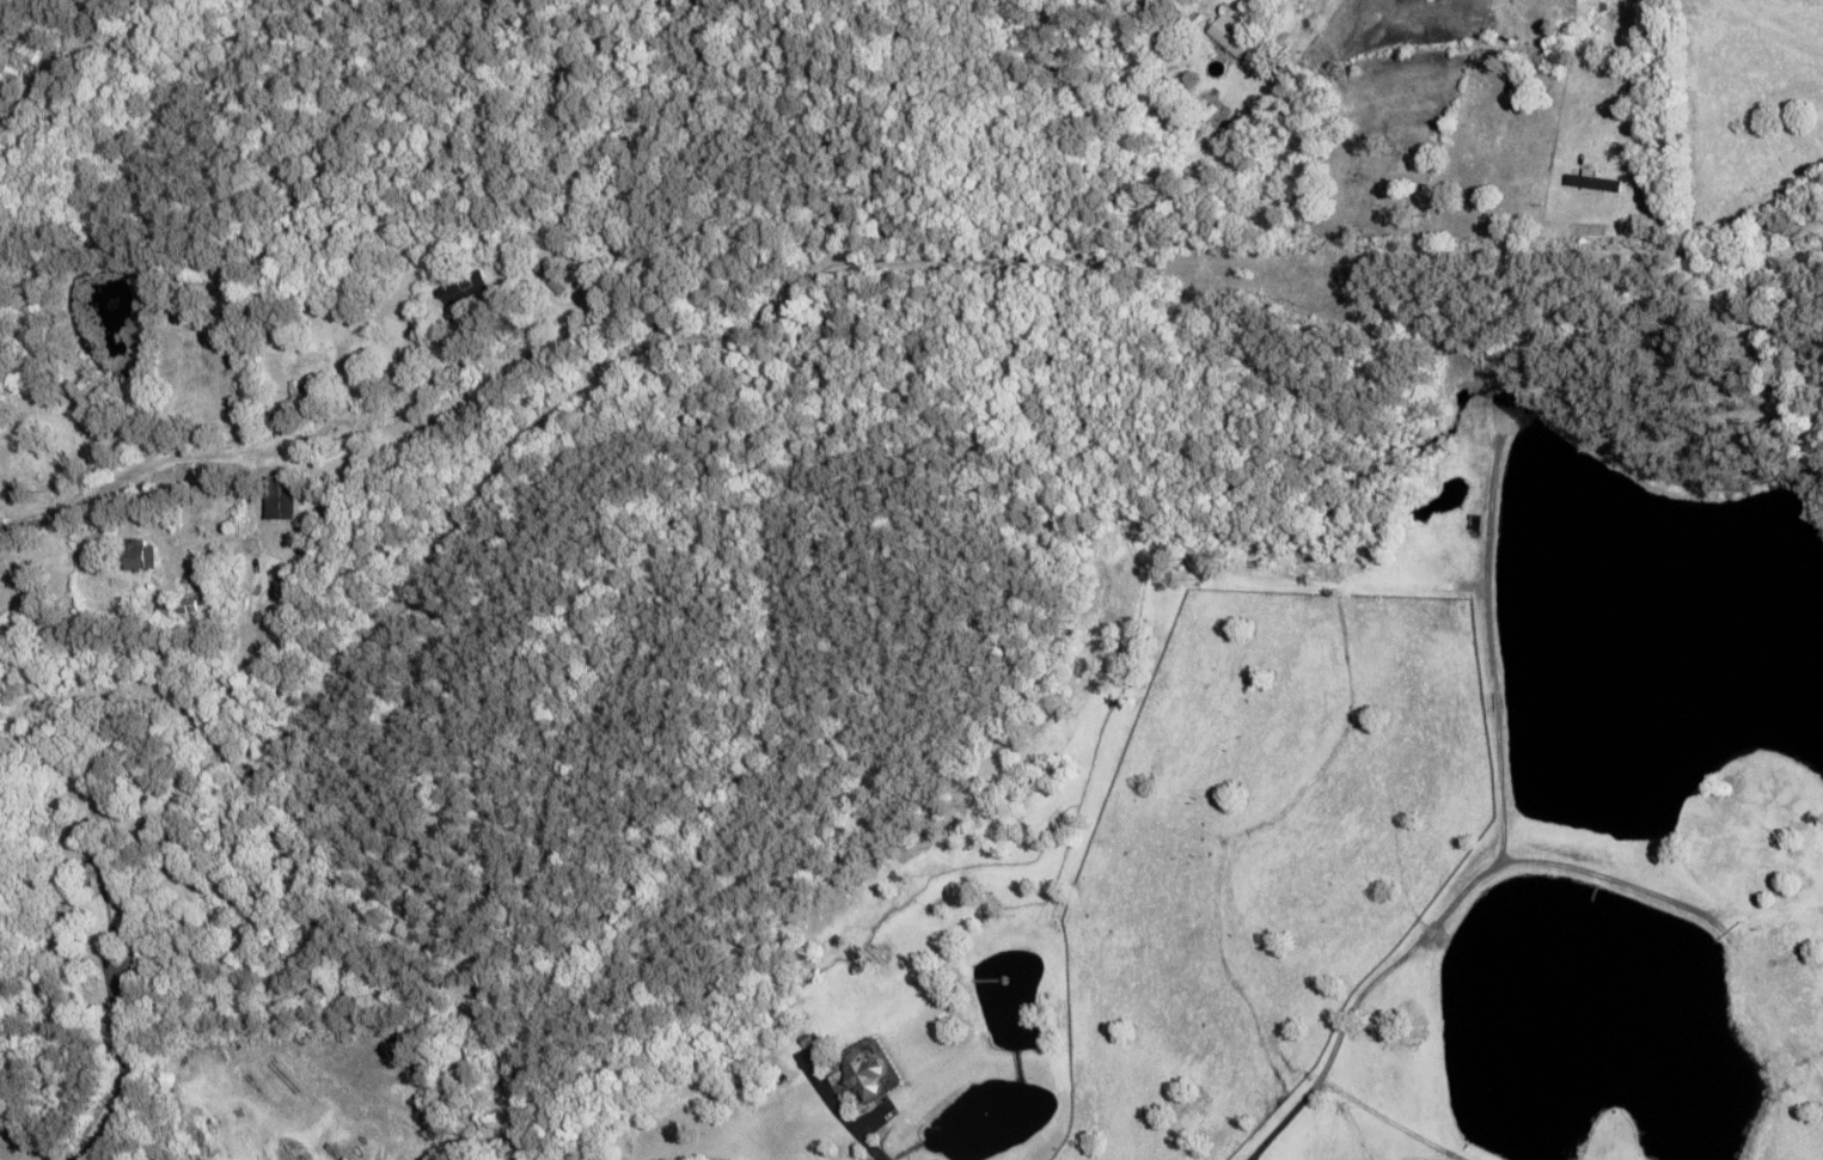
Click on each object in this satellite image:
road: (1772, 26)
building: (1238, 43)
building: (461, 288)
building: (304, 381)
building: (244, 393)
road: (325, 429)
building: (338, 454)
building: (281, 497)
building: (139, 554)
building: (270, 593)
building: (99, 875)

